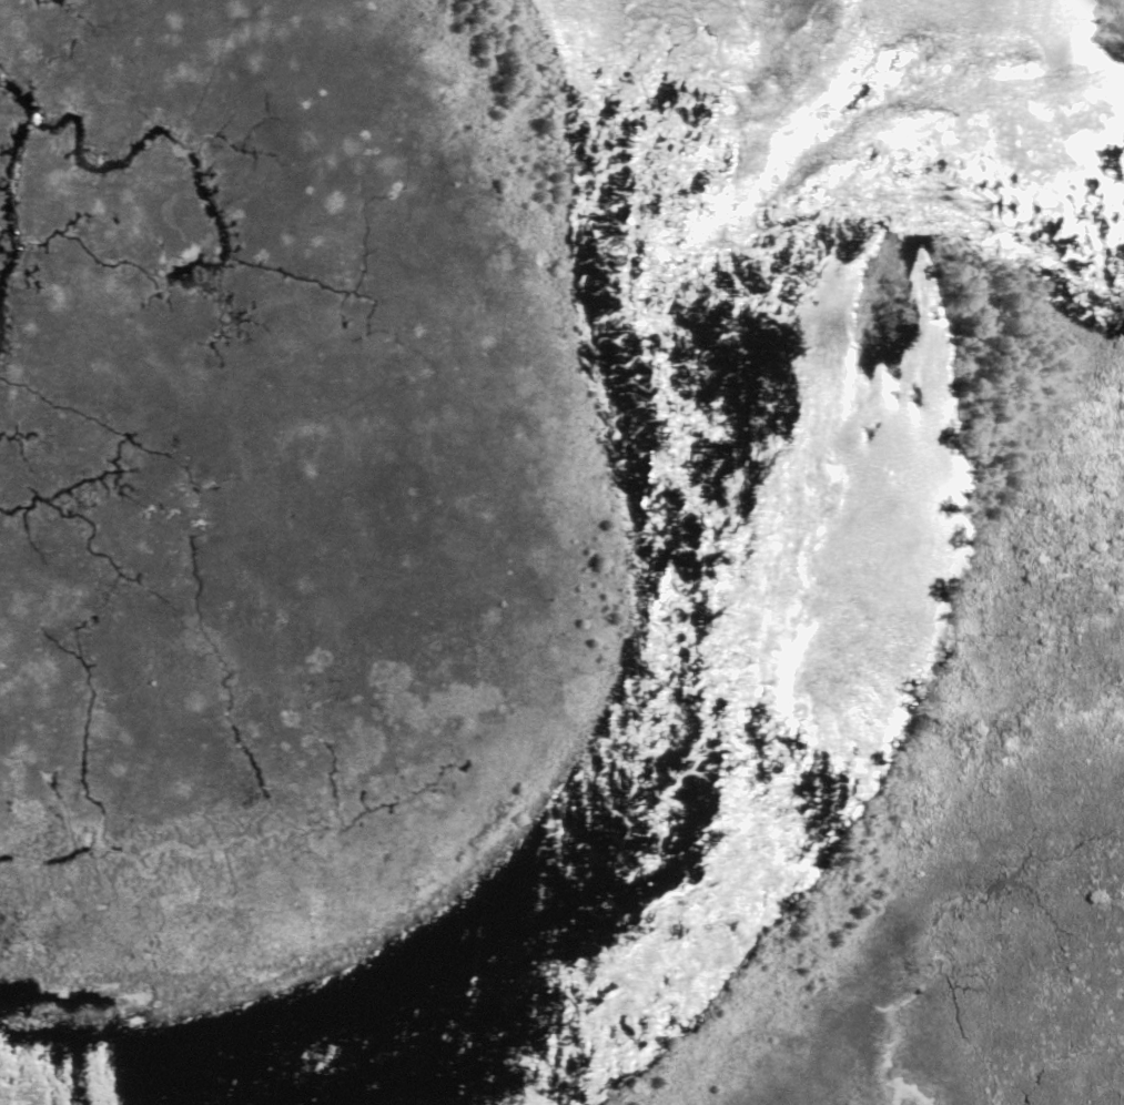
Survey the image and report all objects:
river: (1039, 93)
river: (700, 794)

